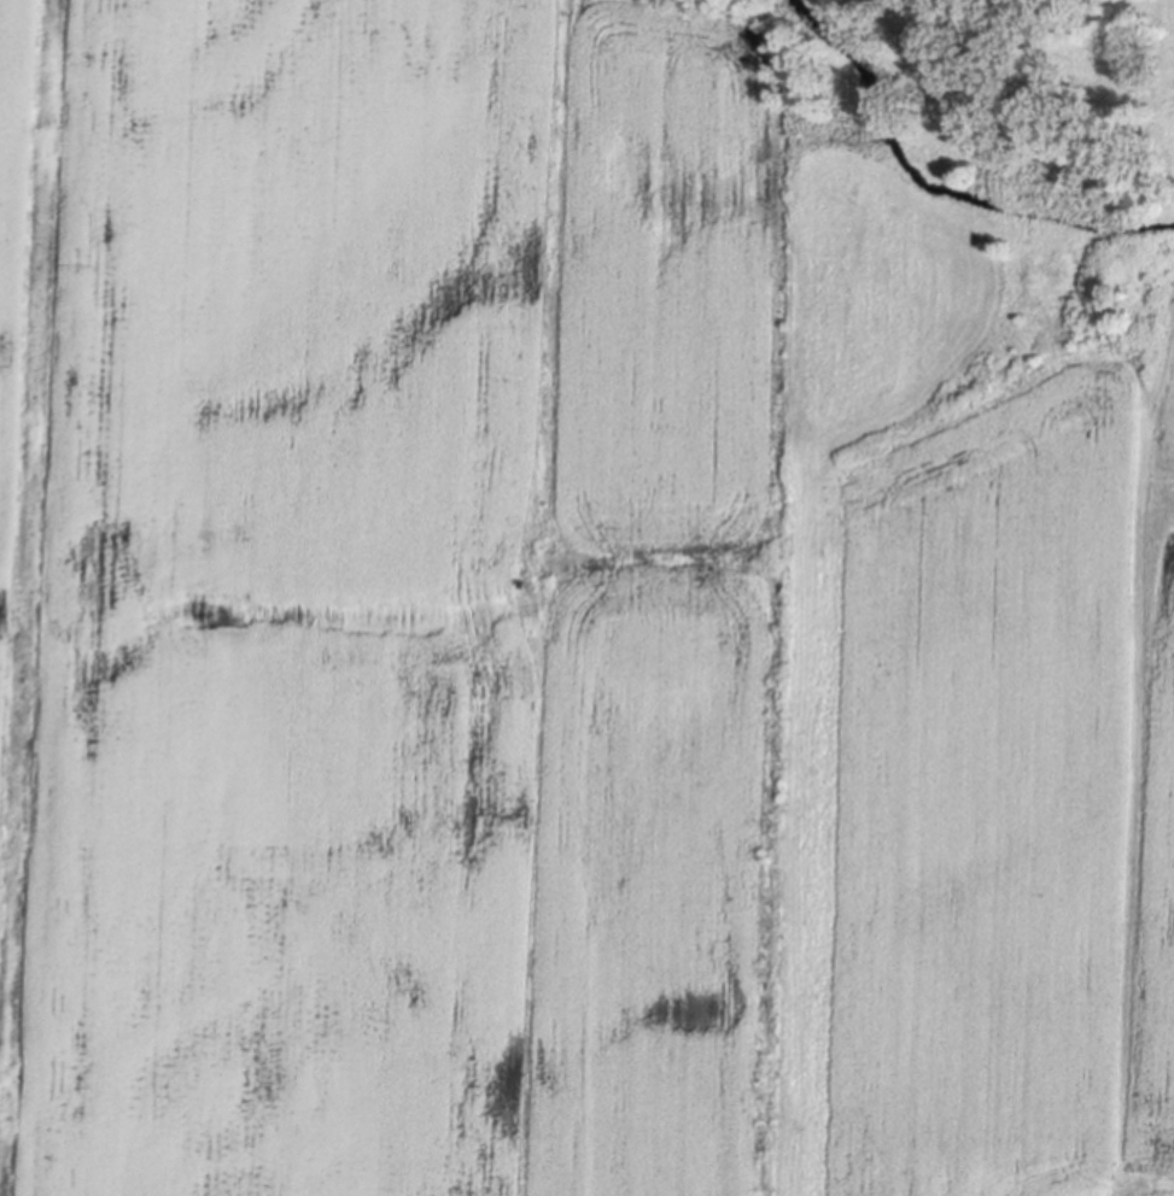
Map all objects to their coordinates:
river: (939, 182)

